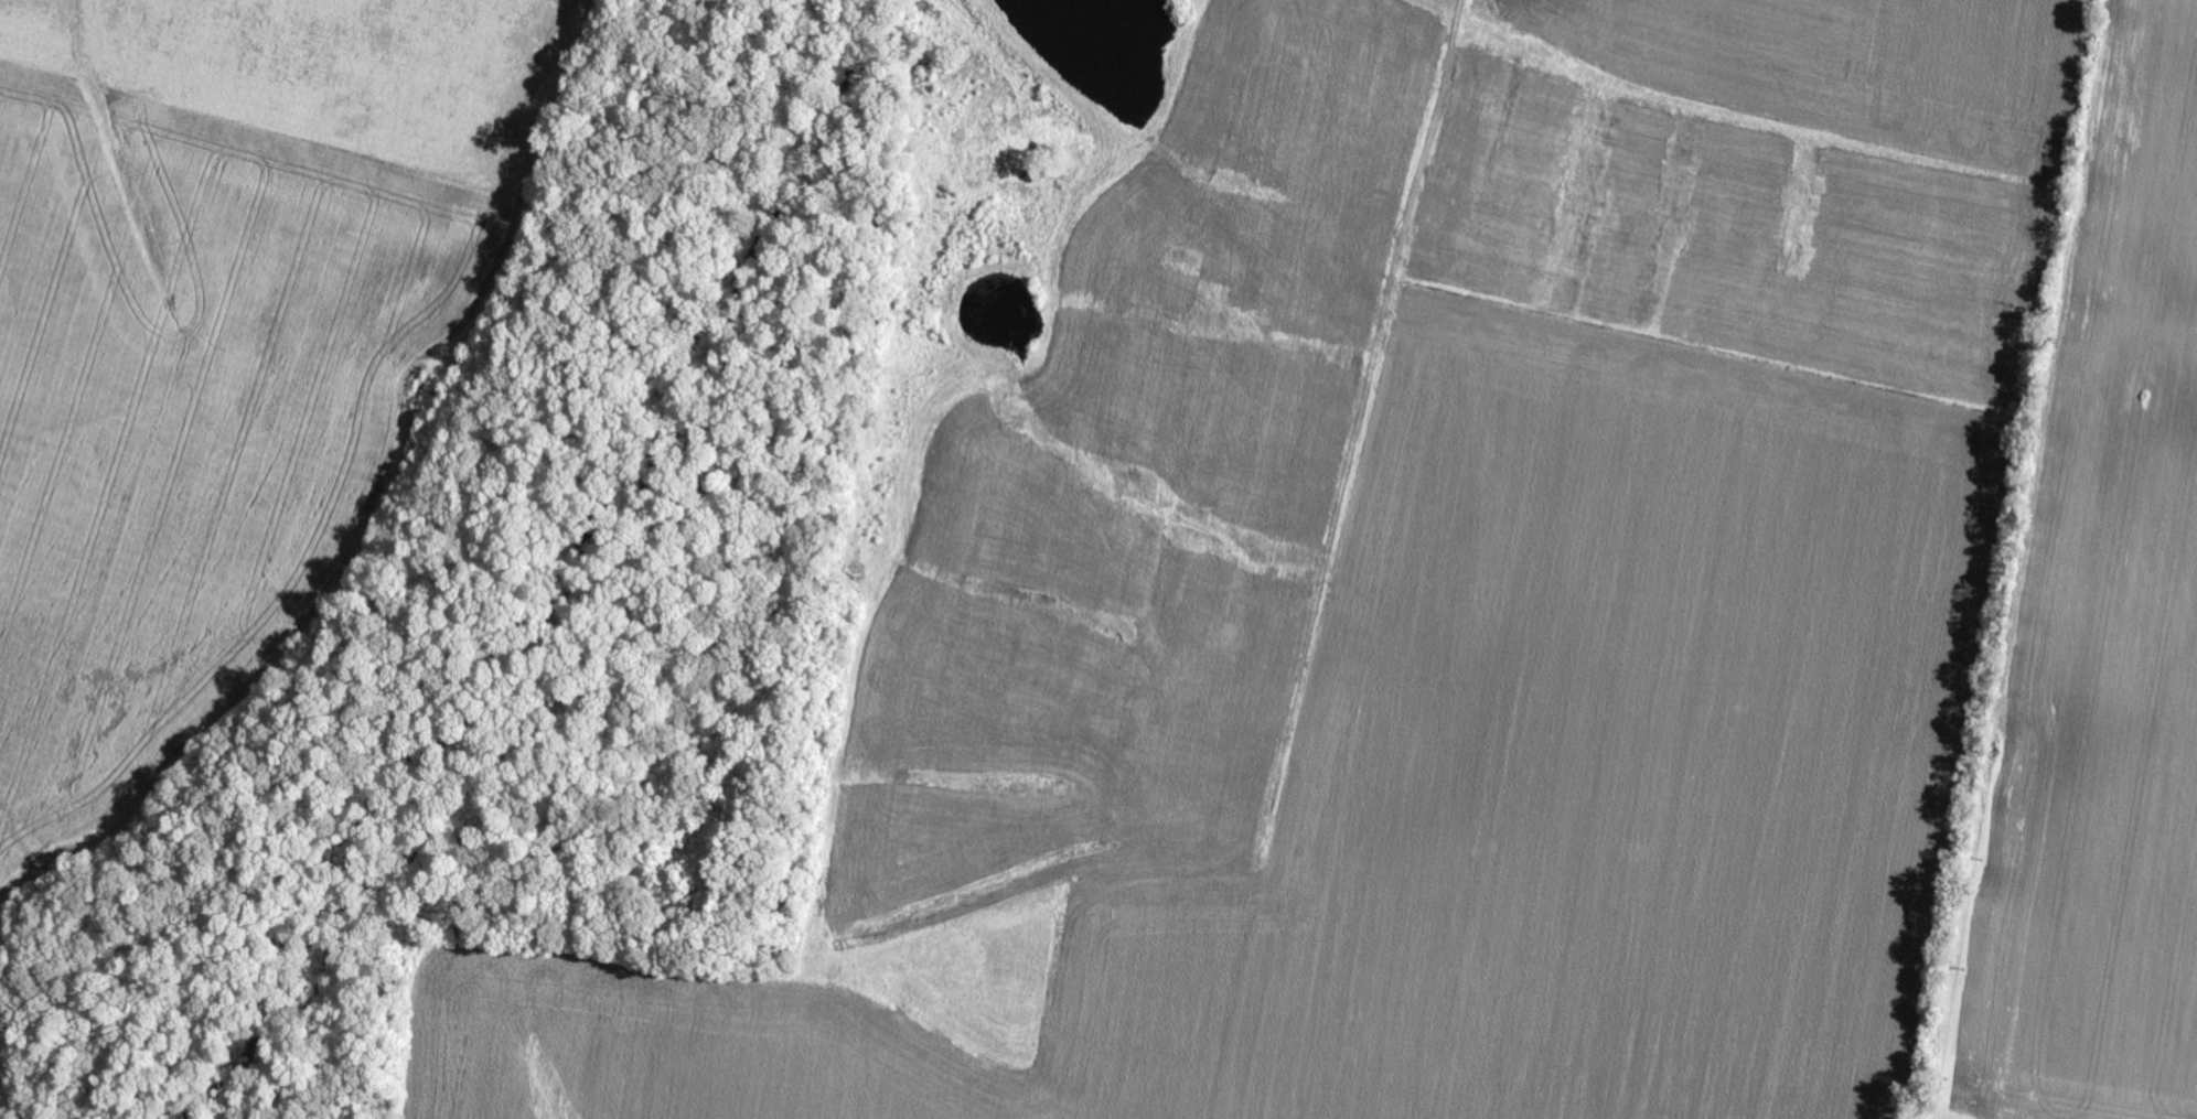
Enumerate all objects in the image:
river: (737, 641)

